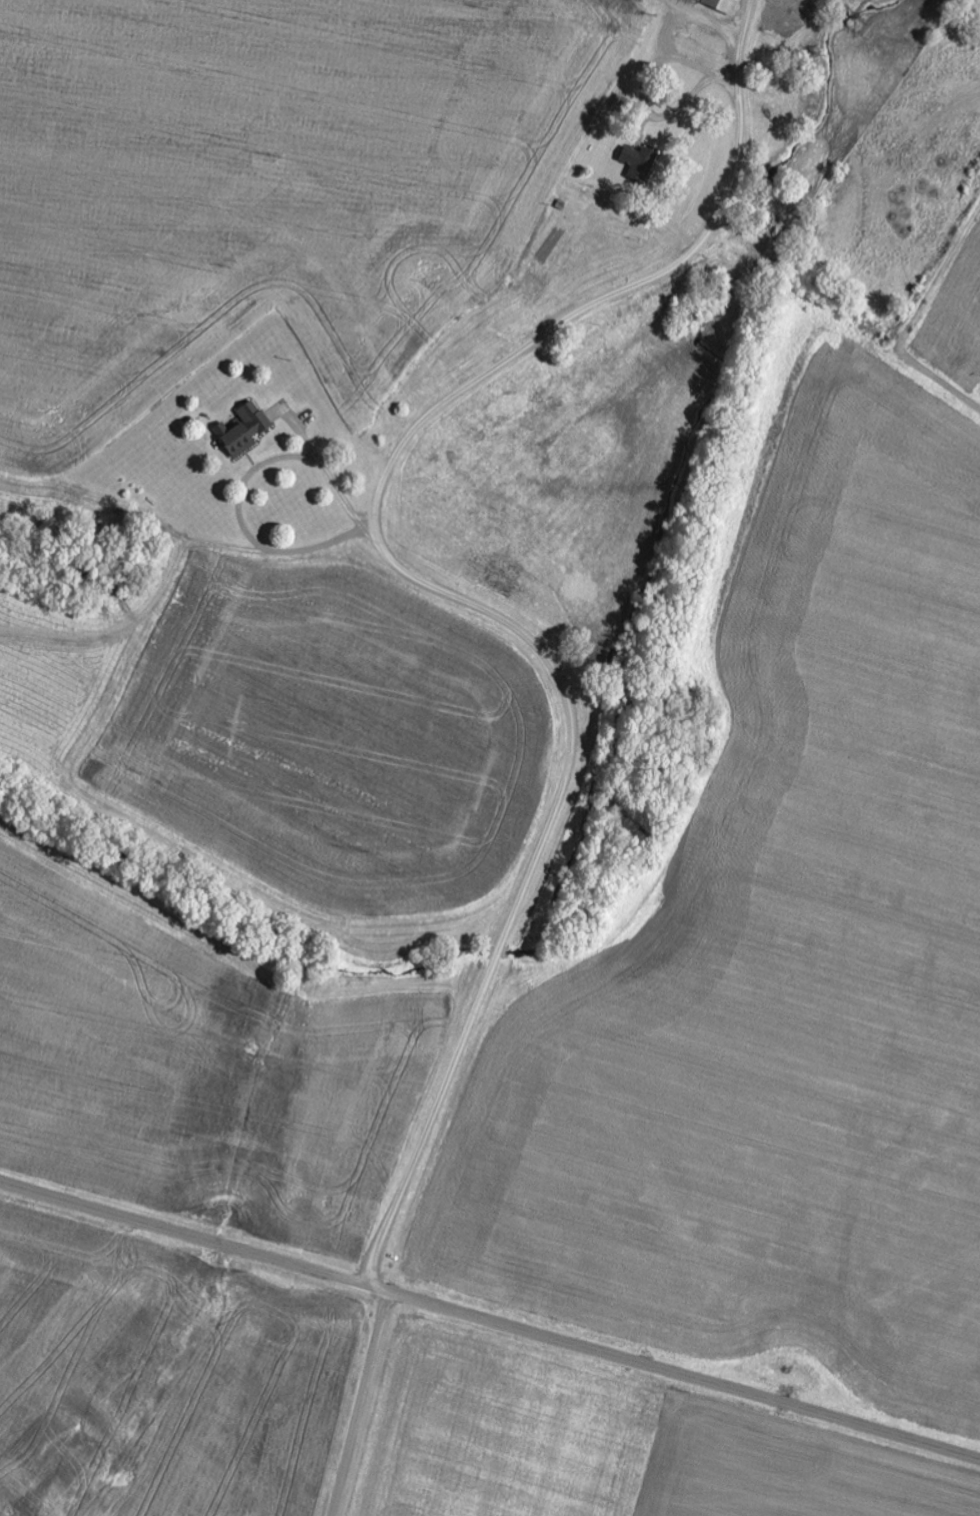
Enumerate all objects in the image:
building: (660, 143)
building: (639, 163)
road: (852, 315)
building: (245, 430)
building: (502, 579)
road: (442, 590)
road: (490, 1321)
road: (359, 1404)

